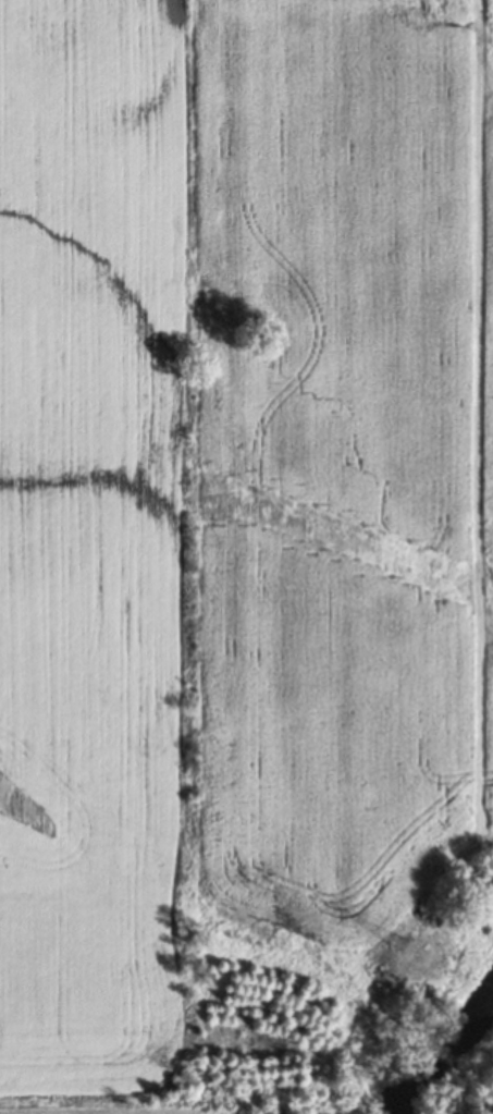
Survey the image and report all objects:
power tower: (395, 939)
river: (481, 1094)

